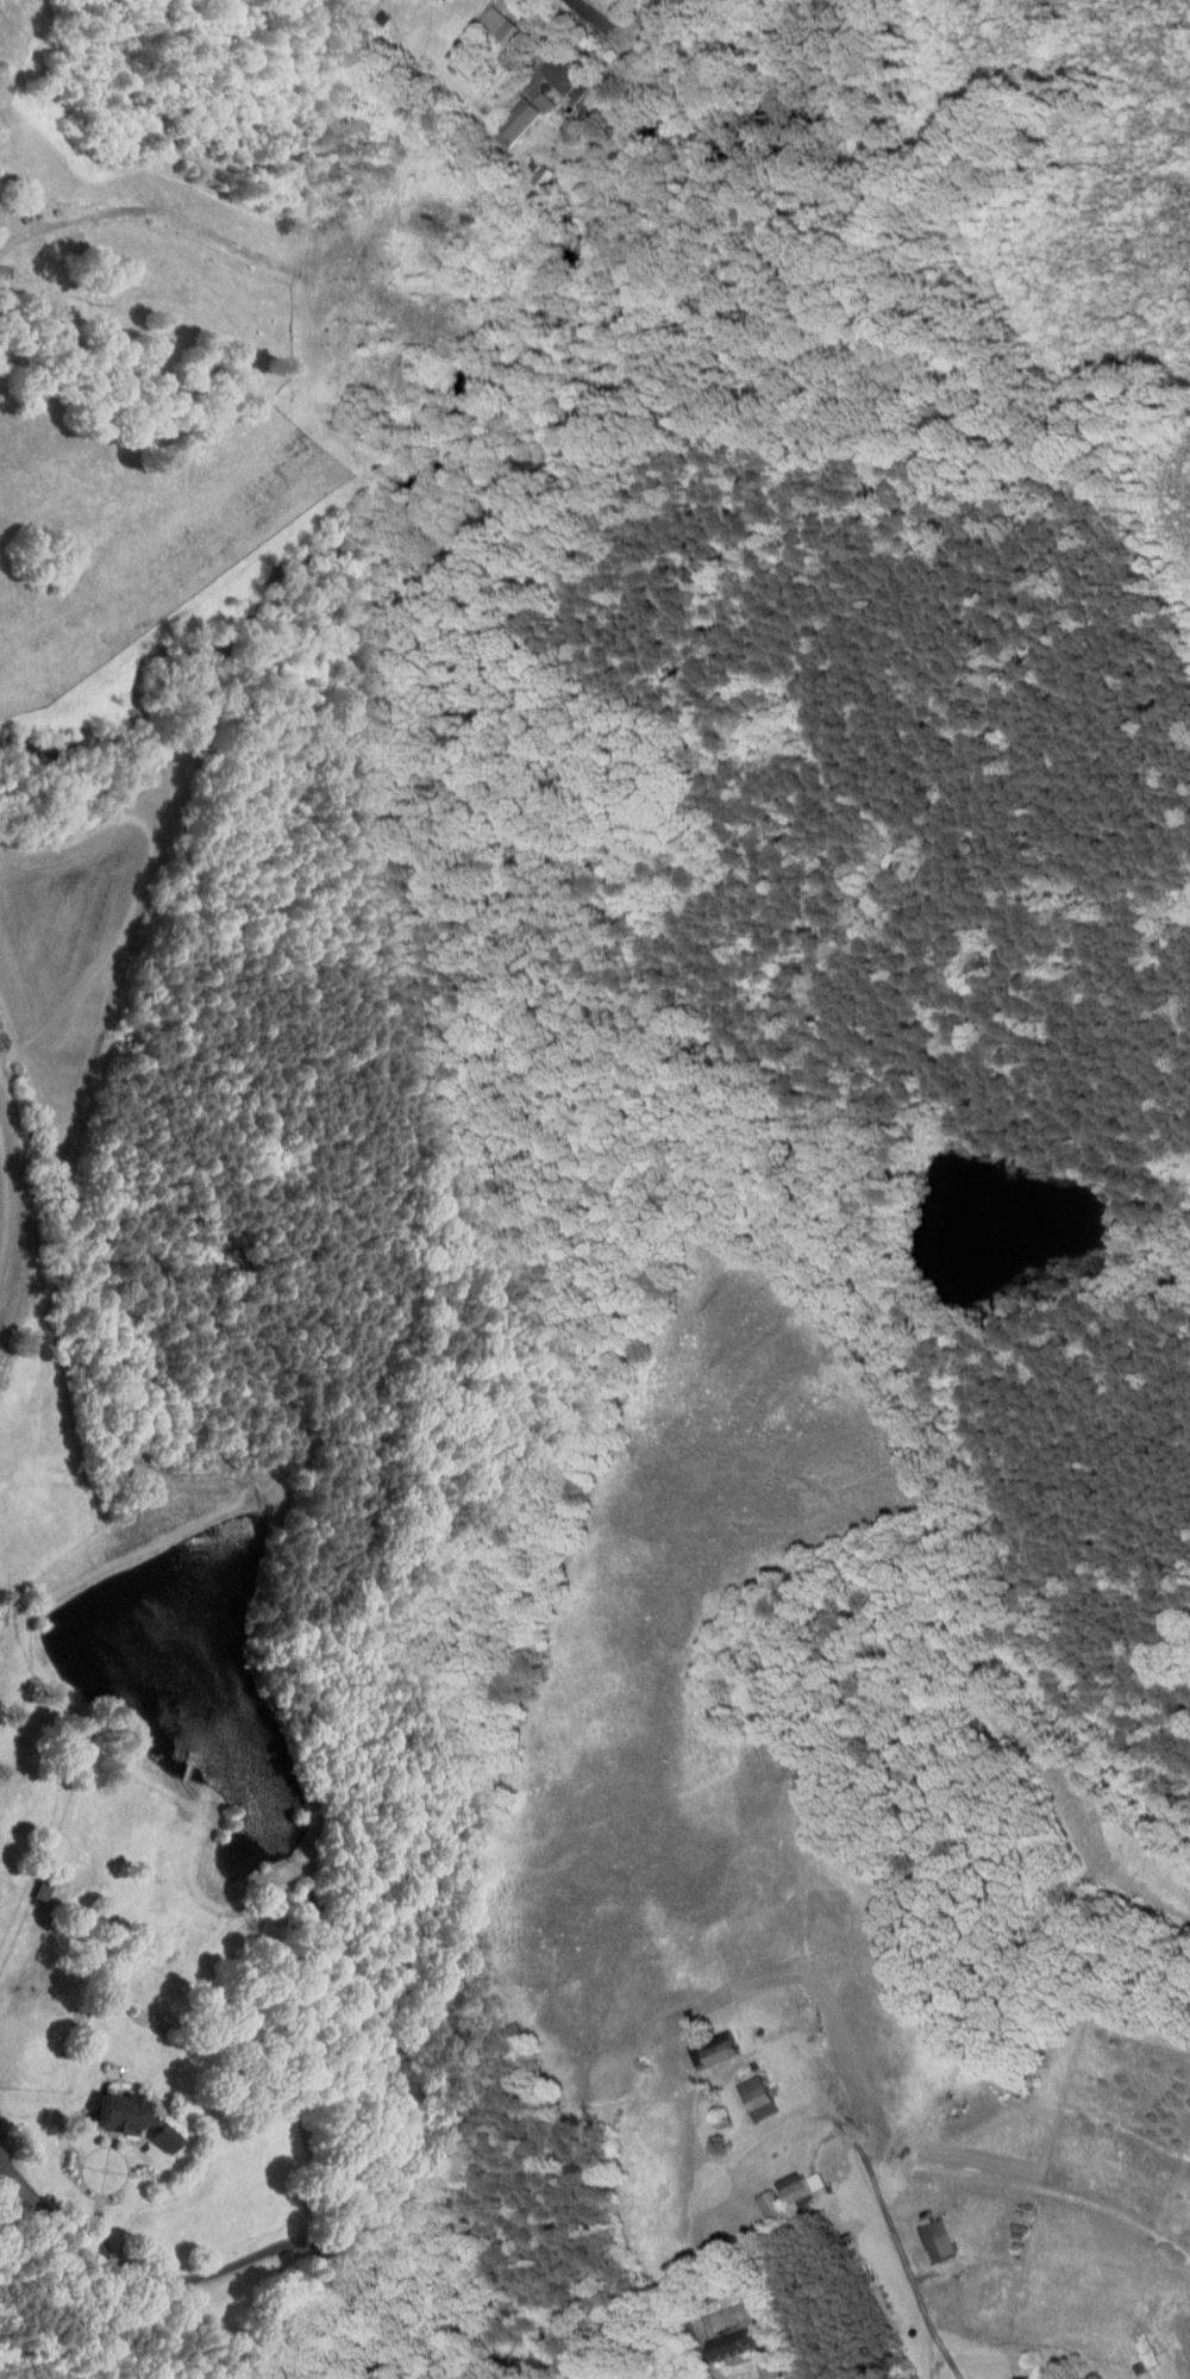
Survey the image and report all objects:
building: (490, 18)
road: (595, 21)
building: (552, 71)
building: (513, 107)
building: (528, 169)
building: (702, 2044)
building: (744, 2091)
building: (125, 2115)
building: (788, 2183)
road: (1032, 2186)
building: (758, 2198)
road: (52, 2210)
building: (925, 2234)
road: (891, 2262)
road: (219, 2269)
building: (728, 2333)
building: (1132, 2342)
road: (915, 2348)
road: (1036, 2348)
road: (377, 2353)
building: (1008, 2373)
road: (387, 2374)
road: (764, 2374)

